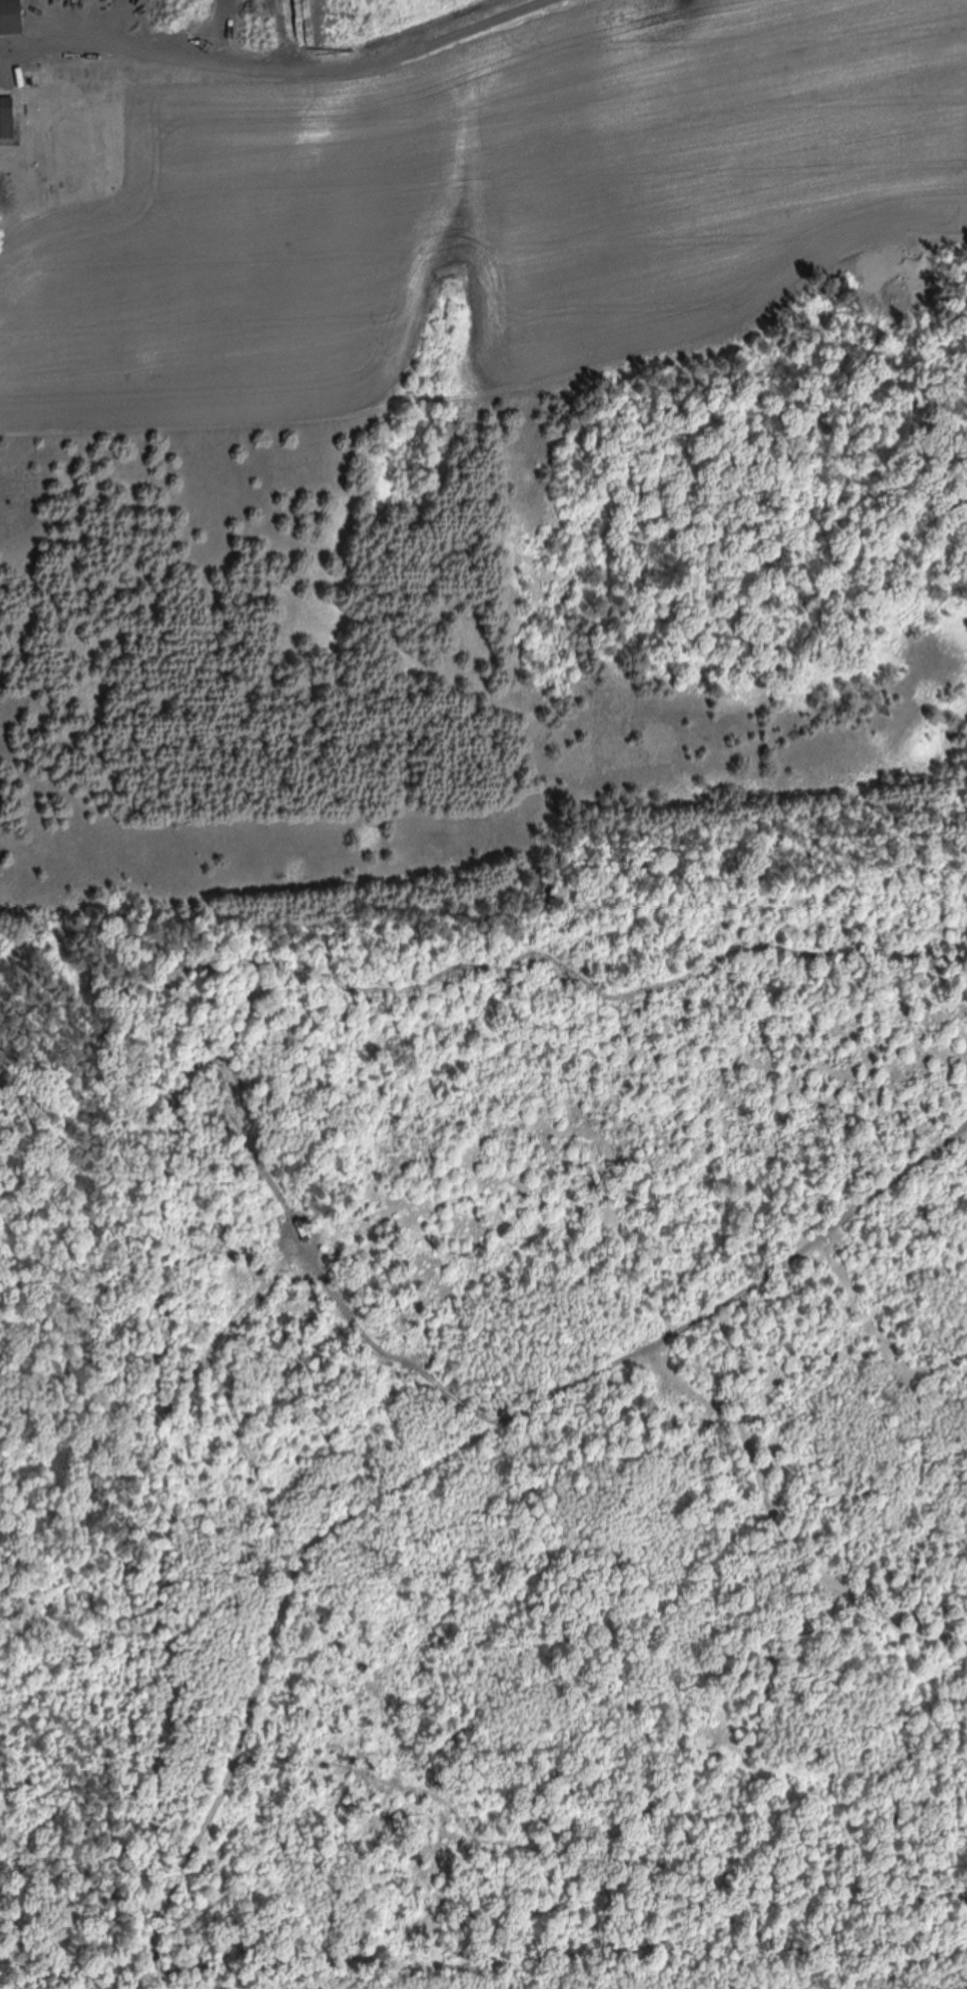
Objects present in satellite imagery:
building: (12, 18)
road: (295, 71)
building: (7, 118)
road: (540, 1152)
road: (259, 1801)

